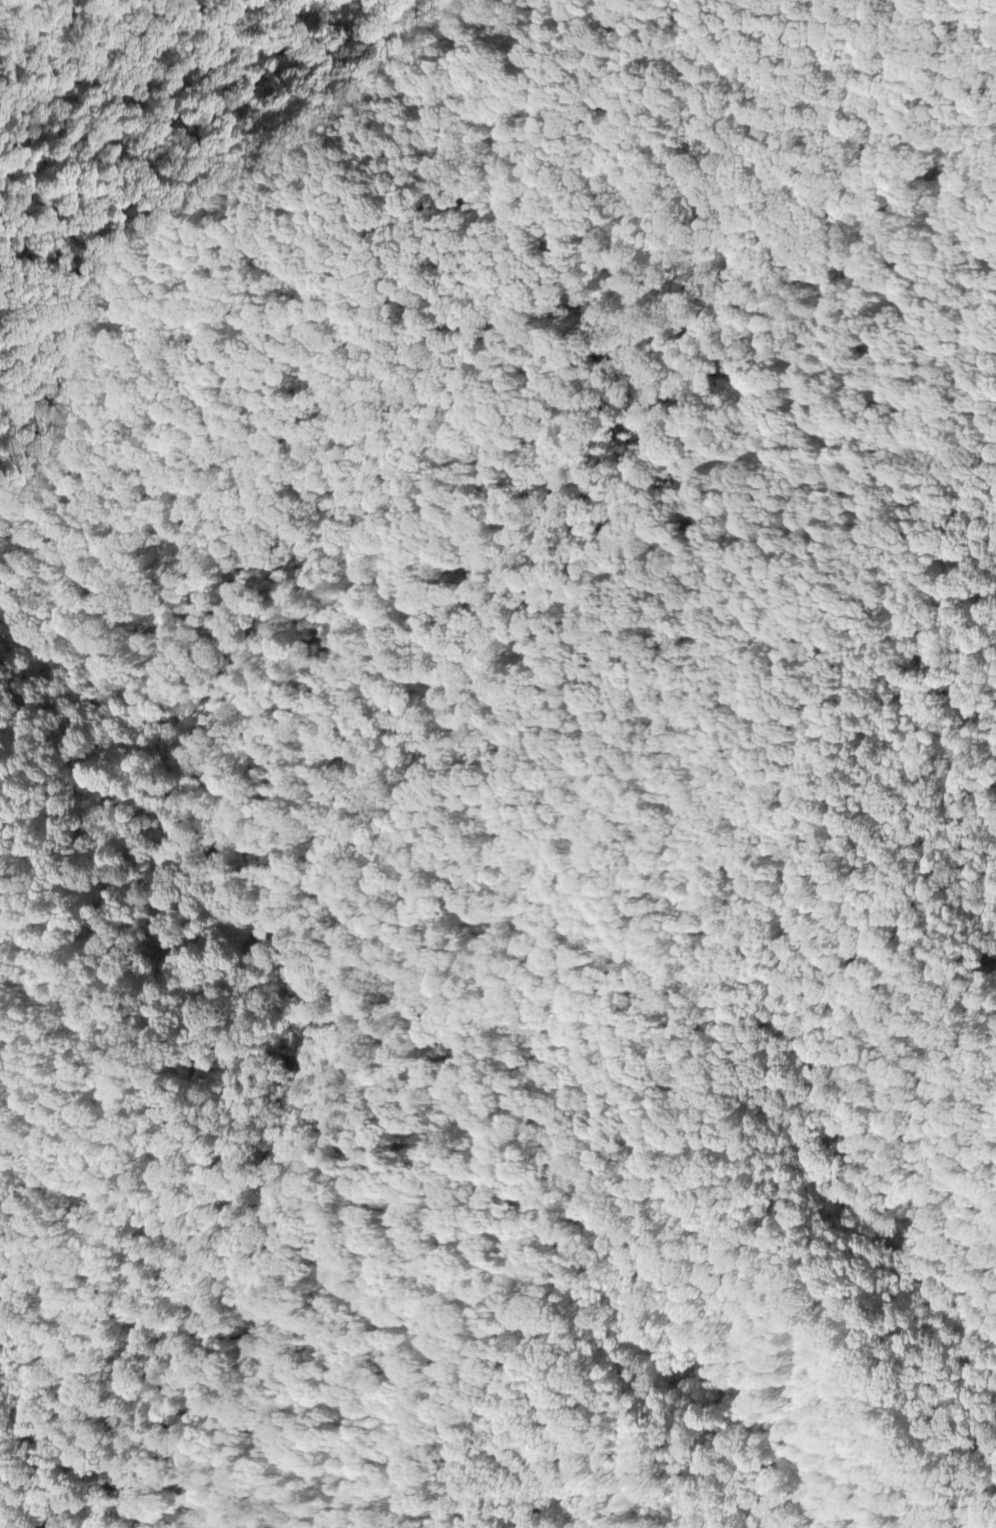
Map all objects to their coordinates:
road: (924, 1390)

